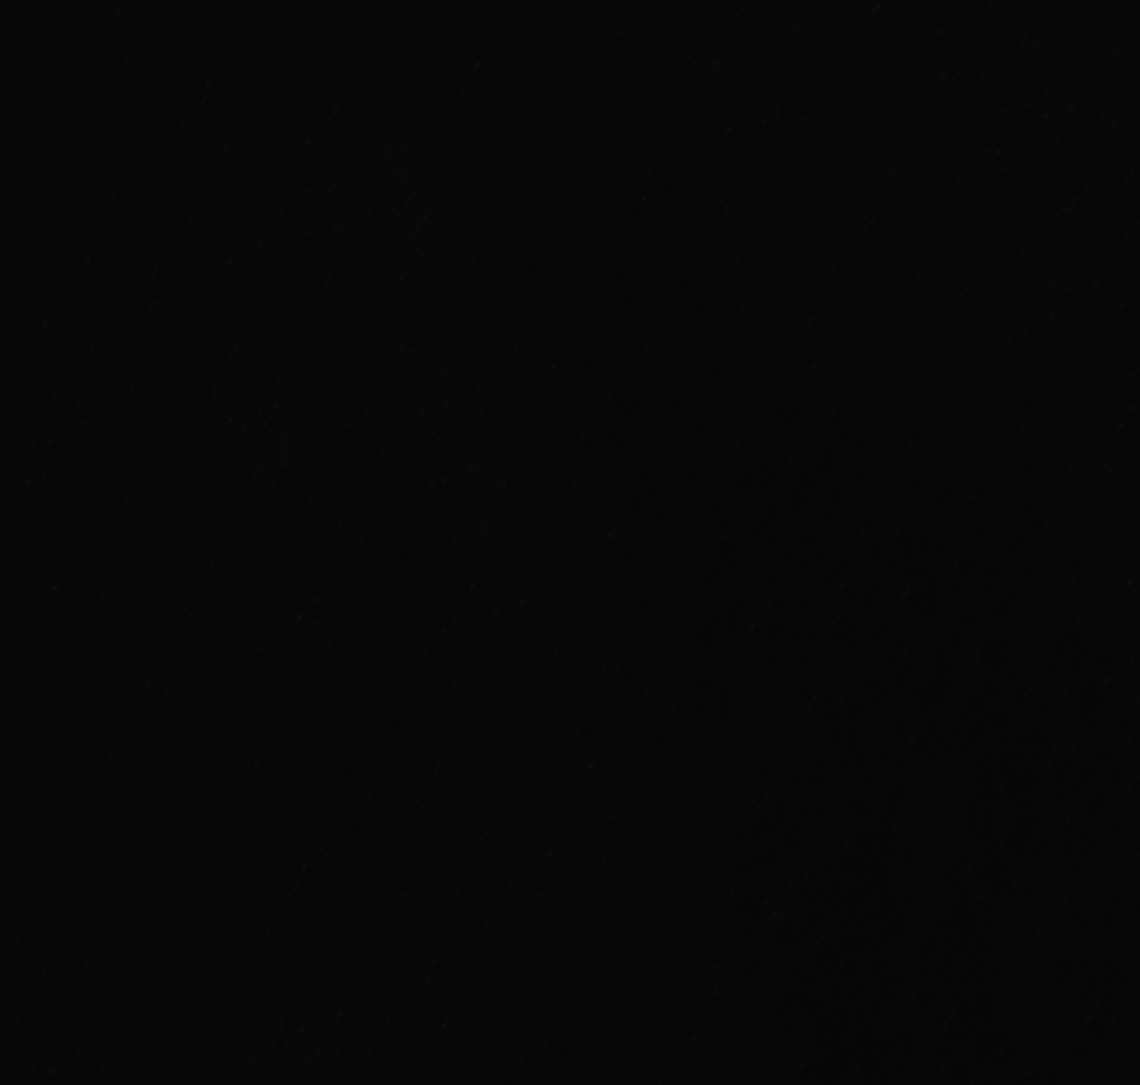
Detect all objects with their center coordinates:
river: (1022, 108)
park: (569, 542)

